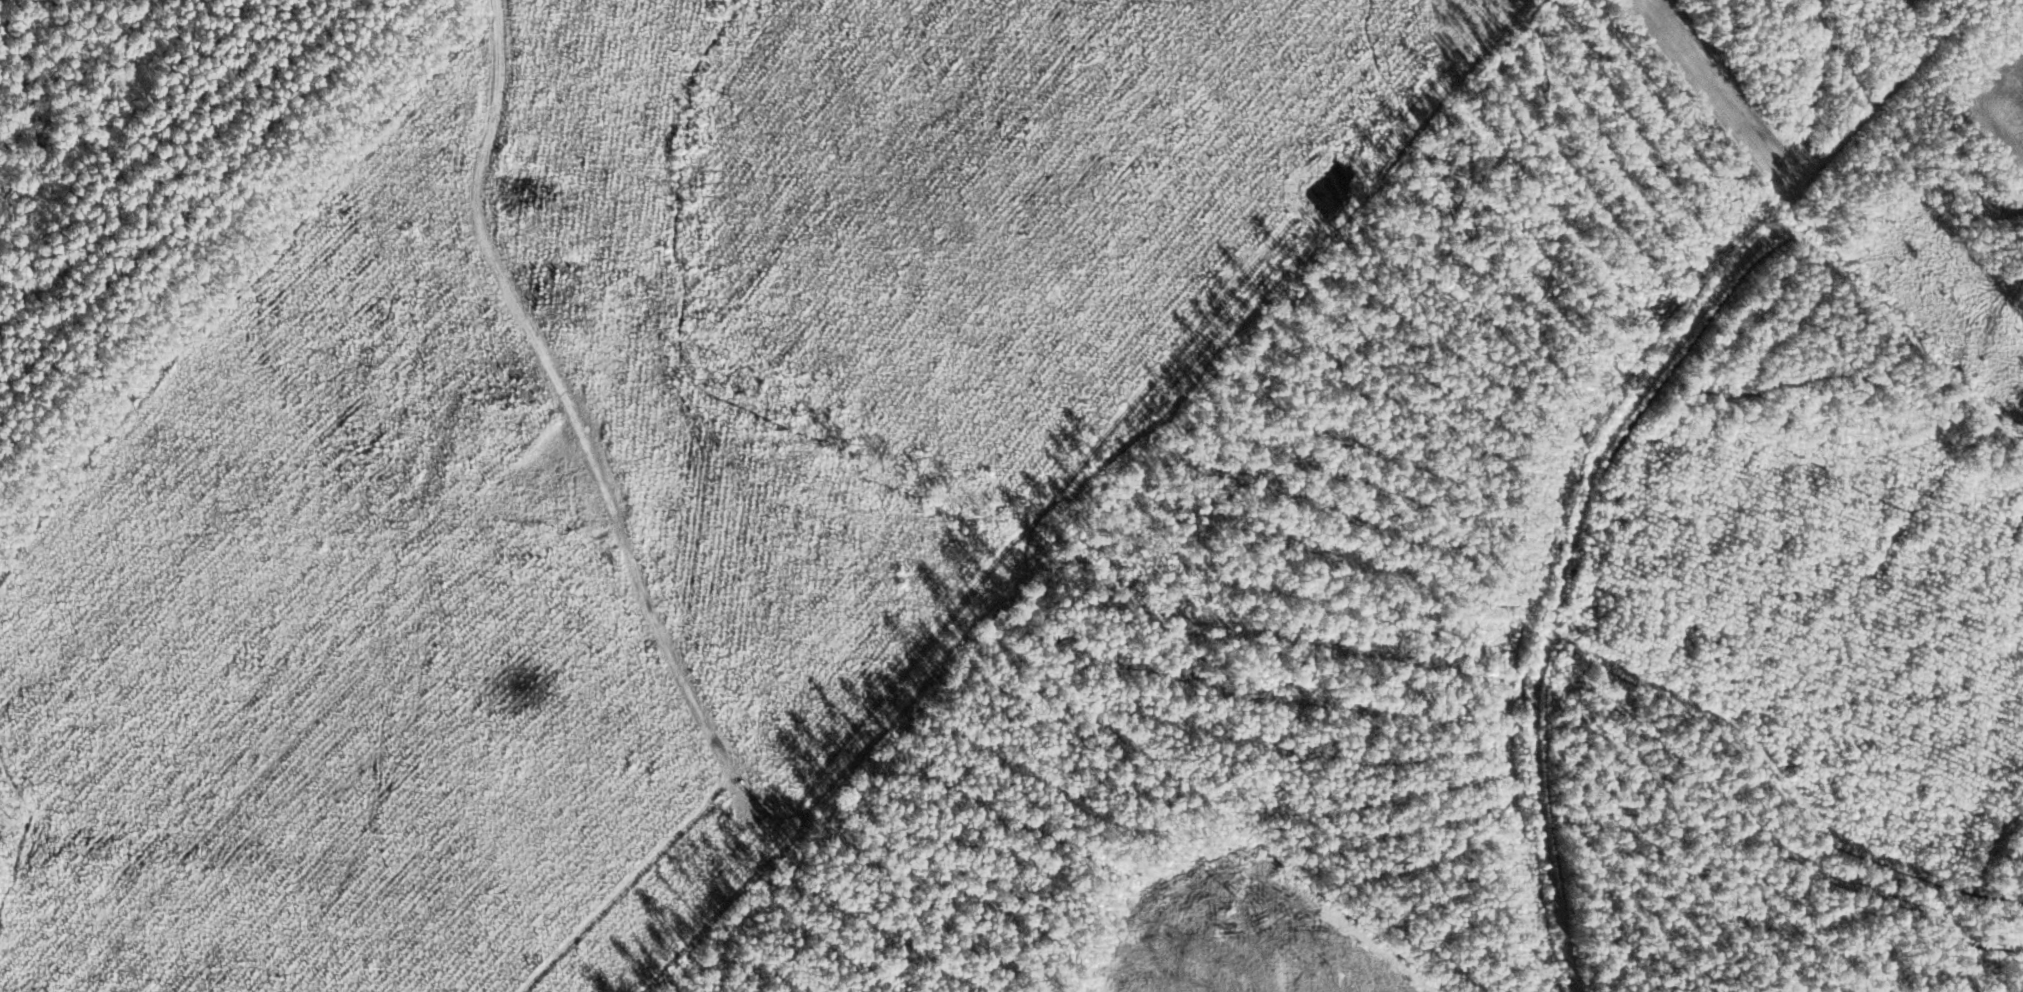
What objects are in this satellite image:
road: (580, 374)

